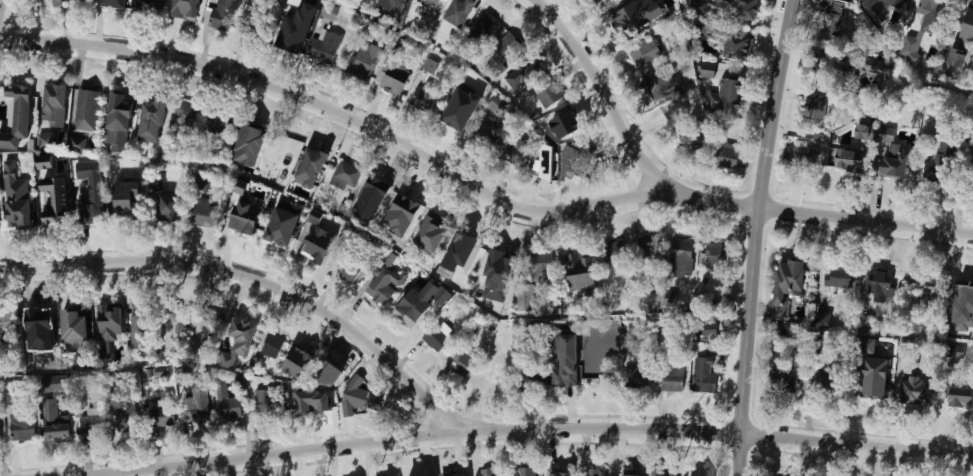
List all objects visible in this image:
building: (79, 0)
building: (602, 1)
building: (606, 1)
road: (0, 3)
building: (112, 3)
building: (298, 3)
building: (893, 3)
building: (427, 4)
building: (394, 5)
building: (150, 6)
building: (186, 9)
building: (746, 10)
building: (329, 13)
building: (224, 14)
building: (456, 14)
building: (932, 16)
building: (621, 18)
building: (256, 20)
building: (832, 23)
building: (701, 27)
building: (478, 33)
building: (291, 37)
building: (965, 37)
building: (326, 46)
building: (739, 48)
building: (642, 51)
building: (499, 55)
building: (359, 66)
building: (880, 68)
building: (527, 69)
building: (818, 69)
building: (707, 70)
building: (848, 73)
building: (391, 82)
building: (655, 86)
building: (547, 91)
road: (607, 93)
building: (425, 96)
building: (728, 96)
building: (55, 104)
building: (499, 105)
building: (816, 107)
building: (86, 110)
building: (18, 116)
building: (187, 116)
building: (457, 116)
building: (119, 118)
building: (153, 120)
building: (221, 123)
building: (567, 123)
building: (863, 131)
building: (970, 134)
building: (492, 136)
building: (697, 136)
building: (45, 140)
building: (250, 144)
building: (77, 146)
building: (282, 147)
building: (515, 150)
building: (728, 155)
building: (893, 155)
building: (942, 155)
building: (805, 157)
building: (313, 161)
building: (850, 161)
building: (543, 162)
building: (573, 162)
building: (345, 176)
building: (90, 180)
building: (204, 183)
road: (477, 186)
building: (240, 187)
building: (374, 190)
building: (53, 194)
building: (129, 200)
building: (170, 207)
building: (405, 207)
building: (205, 215)
building: (248, 217)
building: (20, 218)
building: (284, 225)
building: (0, 227)
building: (431, 231)
road: (753, 236)
building: (319, 243)
building: (466, 243)
building: (646, 248)
building: (613, 253)
building: (715, 255)
building: (681, 258)
building: (577, 261)
building: (540, 265)
building: (495, 266)
building: (351, 269)
building: (839, 277)
road: (258, 280)
building: (882, 284)
building: (928, 285)
building: (382, 287)
building: (788, 287)
building: (524, 297)
building: (438, 299)
building: (963, 308)
building: (409, 311)
building: (174, 315)
building: (822, 319)
building: (110, 322)
building: (7, 324)
building: (210, 324)
building: (139, 325)
building: (41, 326)
building: (75, 328)
building: (709, 329)
building: (241, 332)
building: (438, 336)
building: (272, 345)
building: (867, 346)
building: (906, 348)
building: (33, 352)
building: (955, 352)
building: (106, 355)
building: (462, 360)
building: (299, 362)
building: (781, 374)
building: (493, 375)
building: (704, 375)
building: (564, 376)
building: (597, 377)
building: (634, 378)
building: (877, 378)
building: (672, 379)
building: (528, 381)
building: (827, 382)
building: (59, 384)
building: (0, 390)
building: (915, 391)
building: (960, 398)
building: (360, 399)
building: (308, 401)
building: (267, 402)
building: (226, 403)
building: (199, 405)
building: (162, 412)
building: (126, 417)
building: (54, 421)
building: (92, 424)
building: (22, 427)
road: (525, 429)
building: (0, 438)
building: (523, 472)
building: (559, 472)
building: (594, 472)
building: (489, 473)
building: (455, 474)
building: (663, 474)
building: (698, 474)
building: (464, 475)
building: (631, 475)

